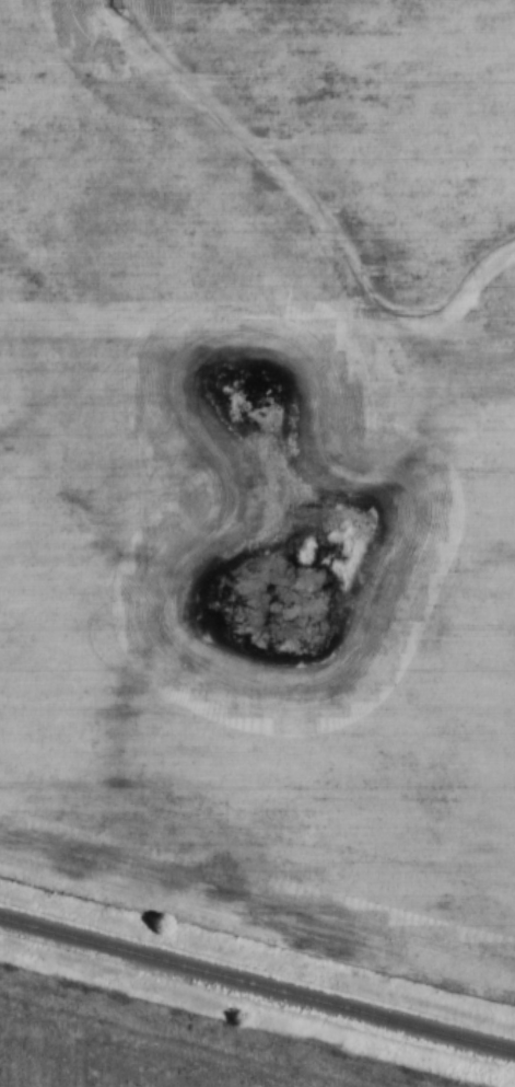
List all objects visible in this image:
railway: (257, 982)

